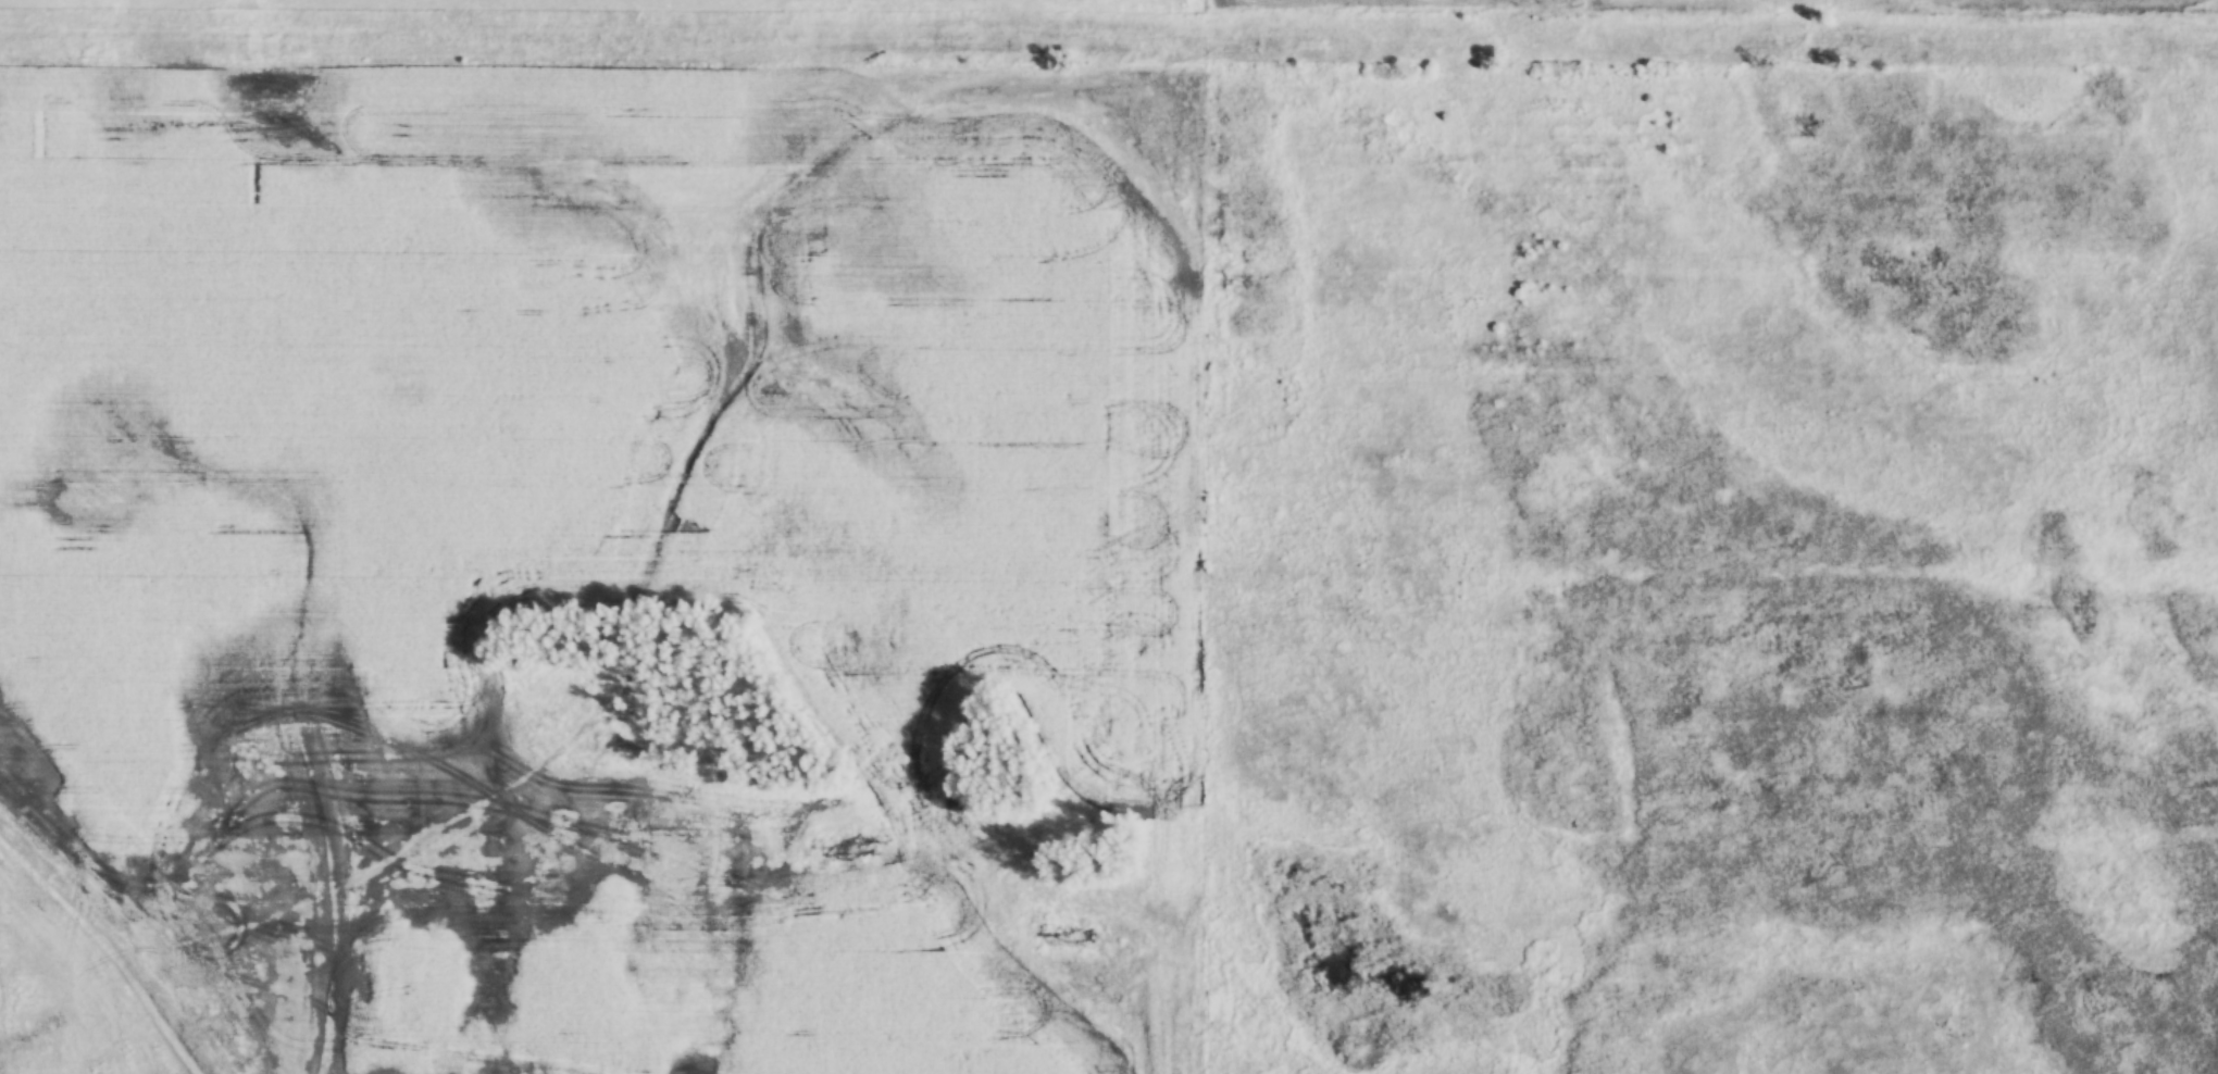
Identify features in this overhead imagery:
road: (1109, 41)

